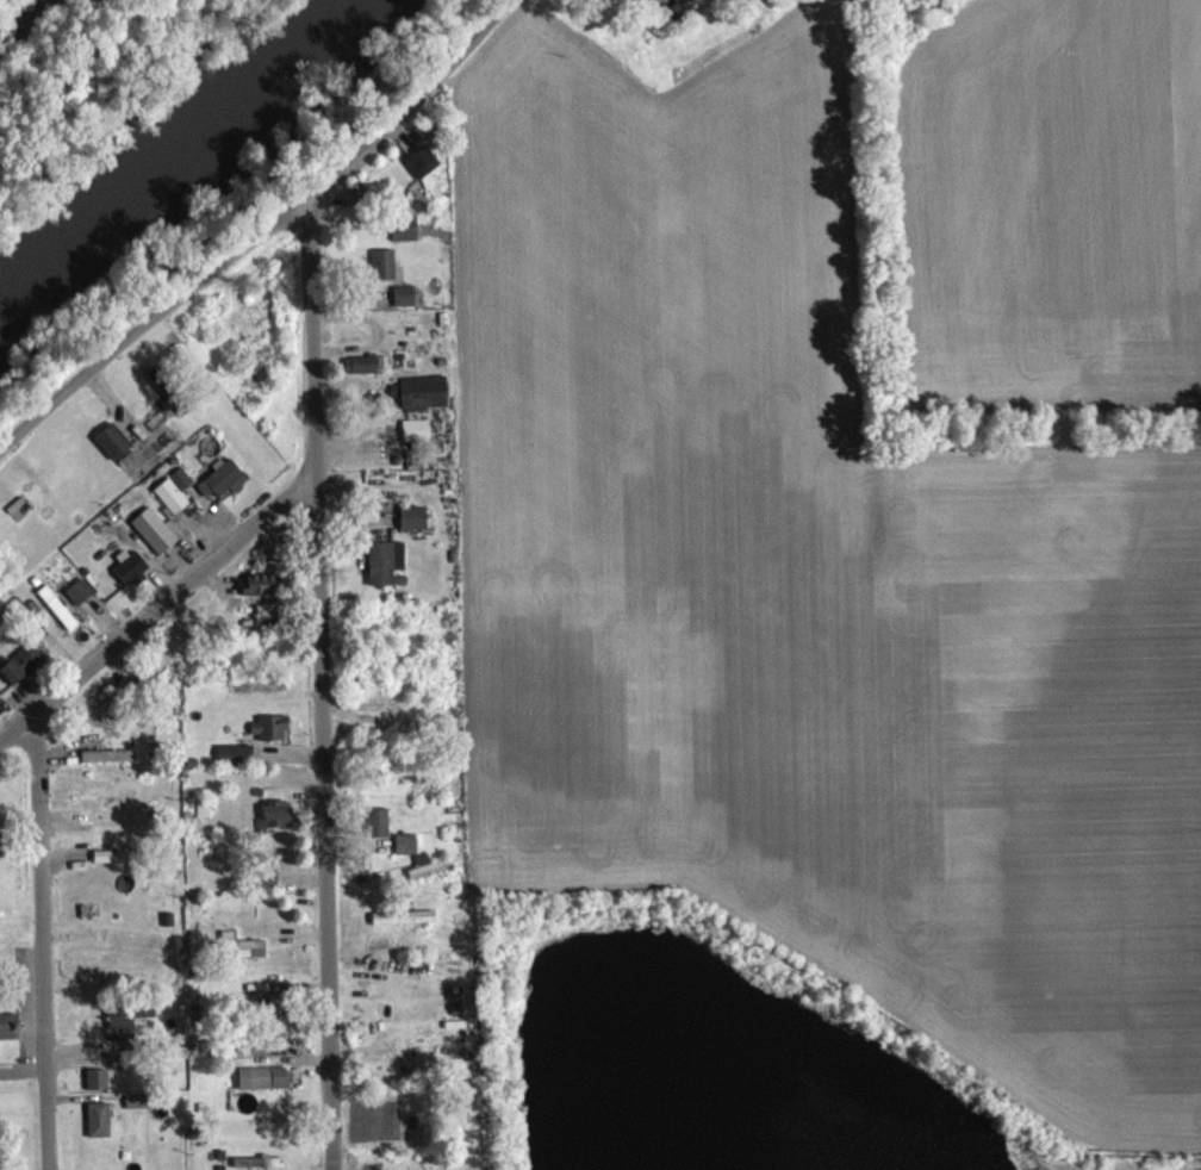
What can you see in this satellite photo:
building: (691, 0)
river: (188, 153)
building: (423, 170)
road: (259, 235)
building: (406, 237)
building: (385, 273)
building: (405, 305)
building: (362, 373)
building: (163, 392)
building: (423, 402)
building: (417, 438)
building: (114, 450)
building: (183, 487)
building: (224, 488)
building: (173, 505)
building: (415, 527)
building: (156, 540)
building: (386, 571)
building: (132, 574)
building: (263, 593)
building: (81, 600)
building: (60, 616)
road: (157, 617)
building: (269, 624)
building: (24, 672)
road: (318, 679)
building: (270, 736)
building: (236, 763)
building: (110, 765)
building: (279, 822)
building: (380, 832)
building: (407, 853)
building: (436, 876)
building: (269, 886)
building: (405, 927)
road: (39, 946)
building: (250, 957)
building: (130, 1029)
building: (10, 1035)
building: (267, 1087)
building: (99, 1089)
building: (100, 1128)
building: (261, 1168)

